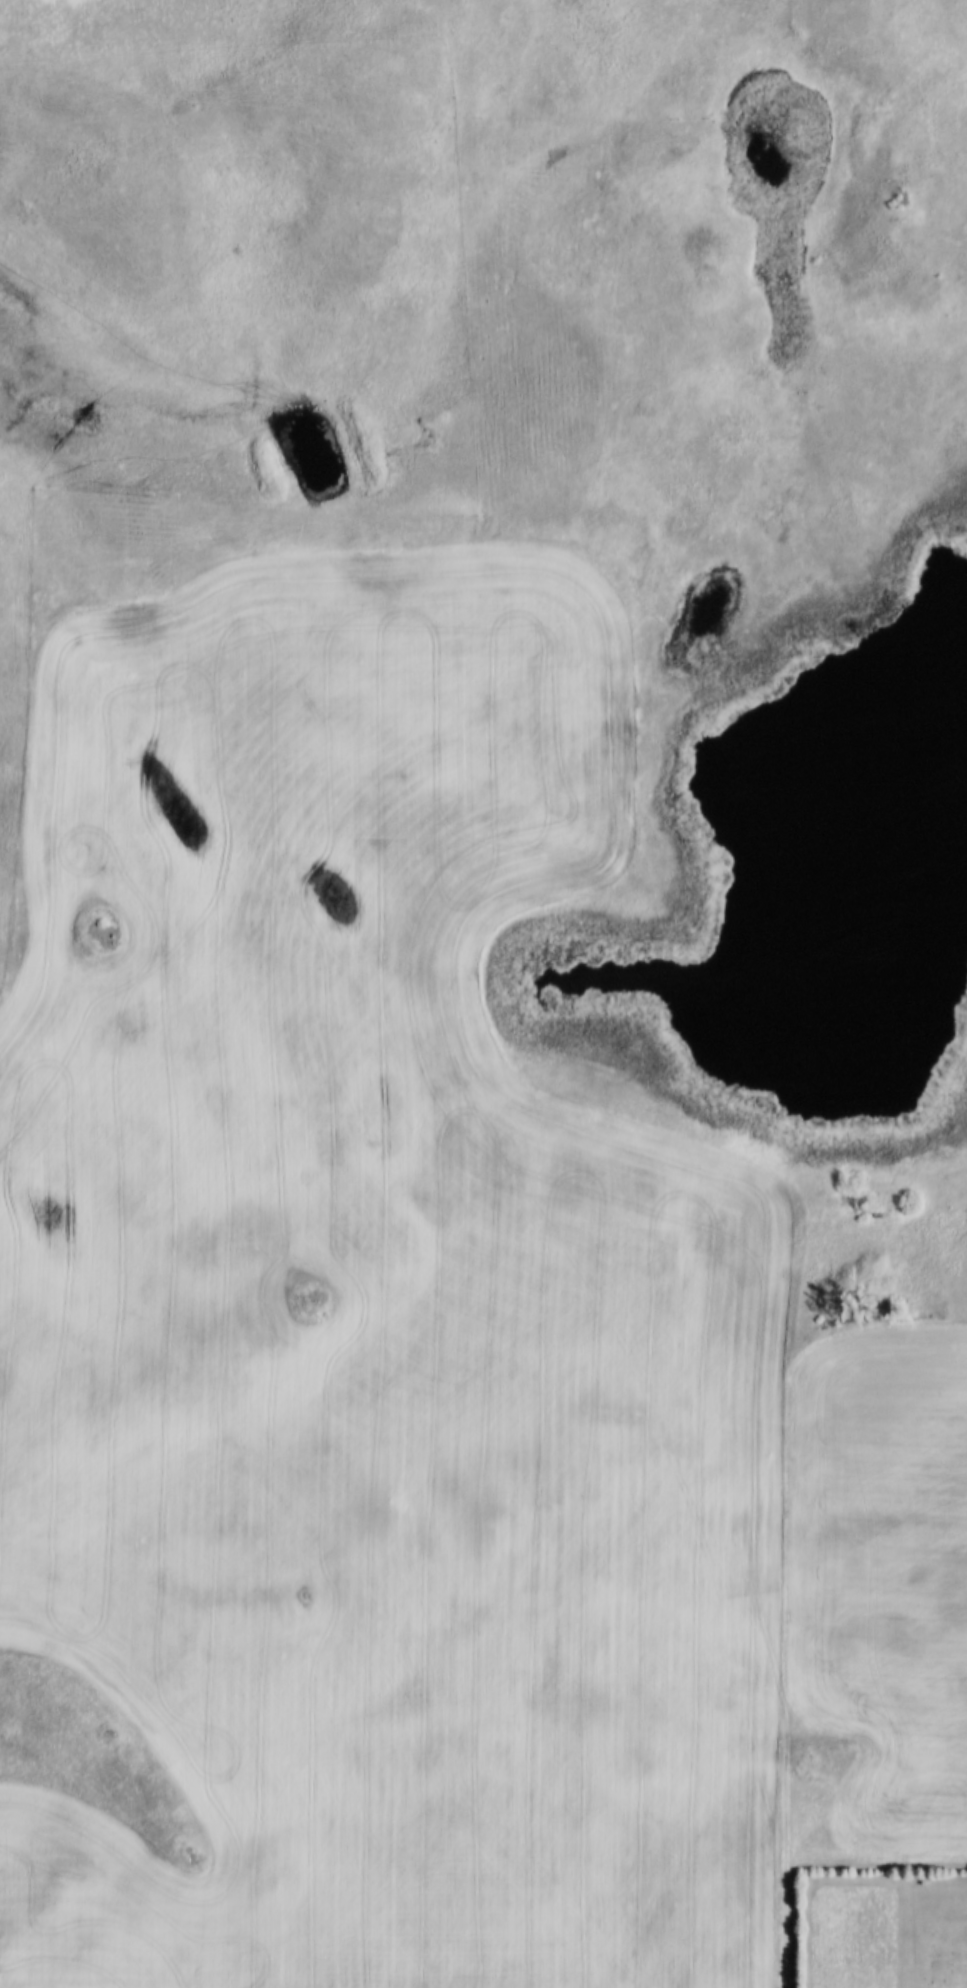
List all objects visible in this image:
park: (883, 1920)

